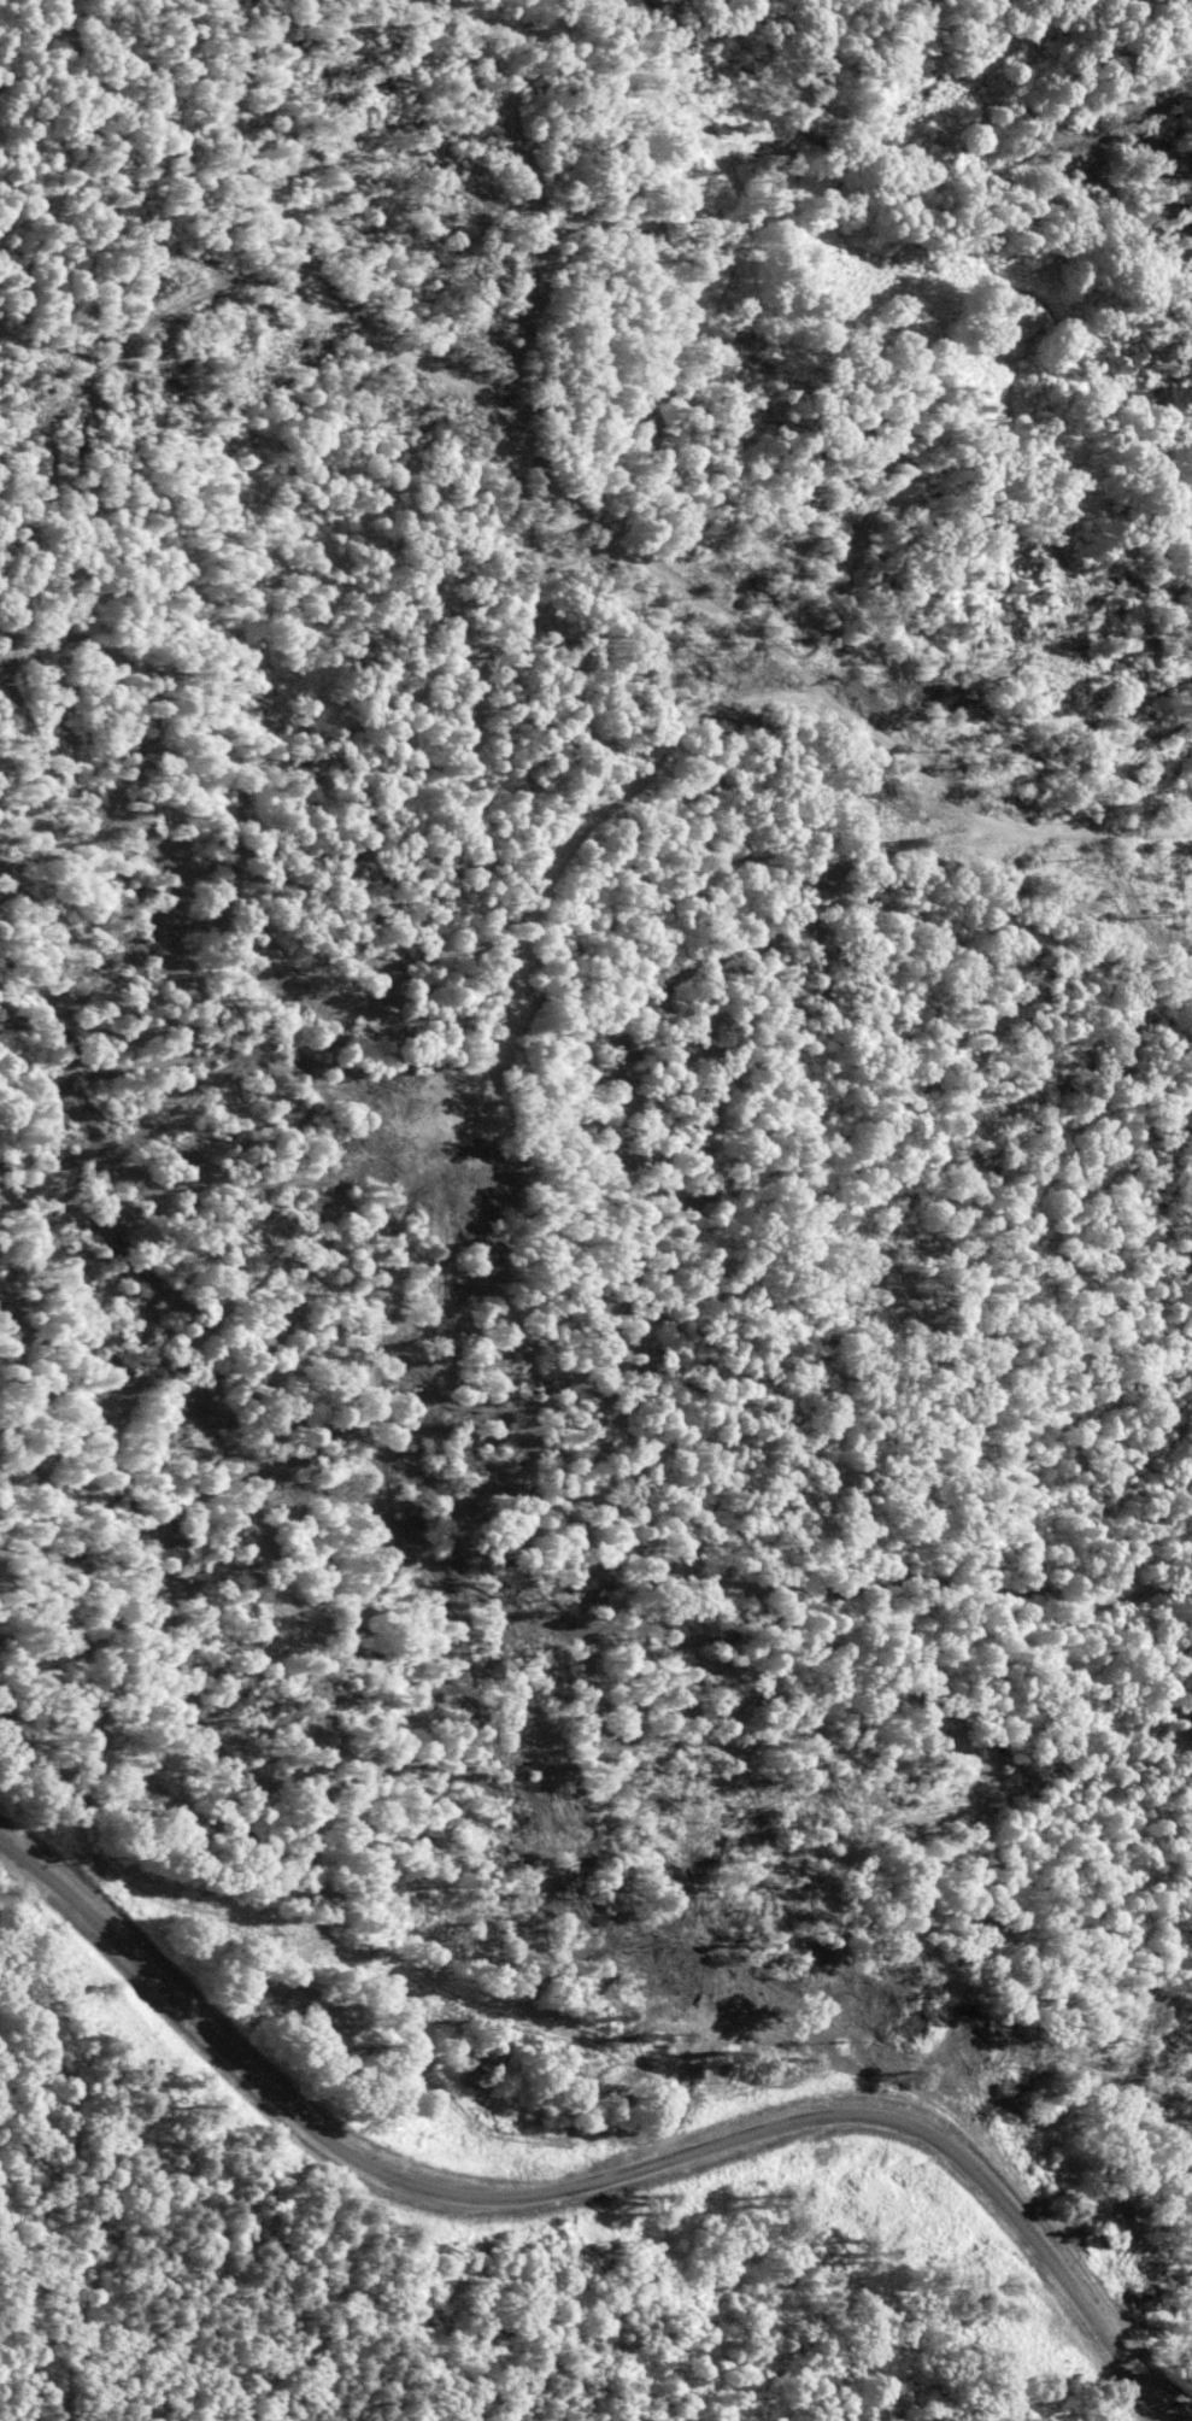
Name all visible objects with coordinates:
road: (7, 1859)
road: (589, 2181)
road: (153, 2228)
road: (404, 2305)

